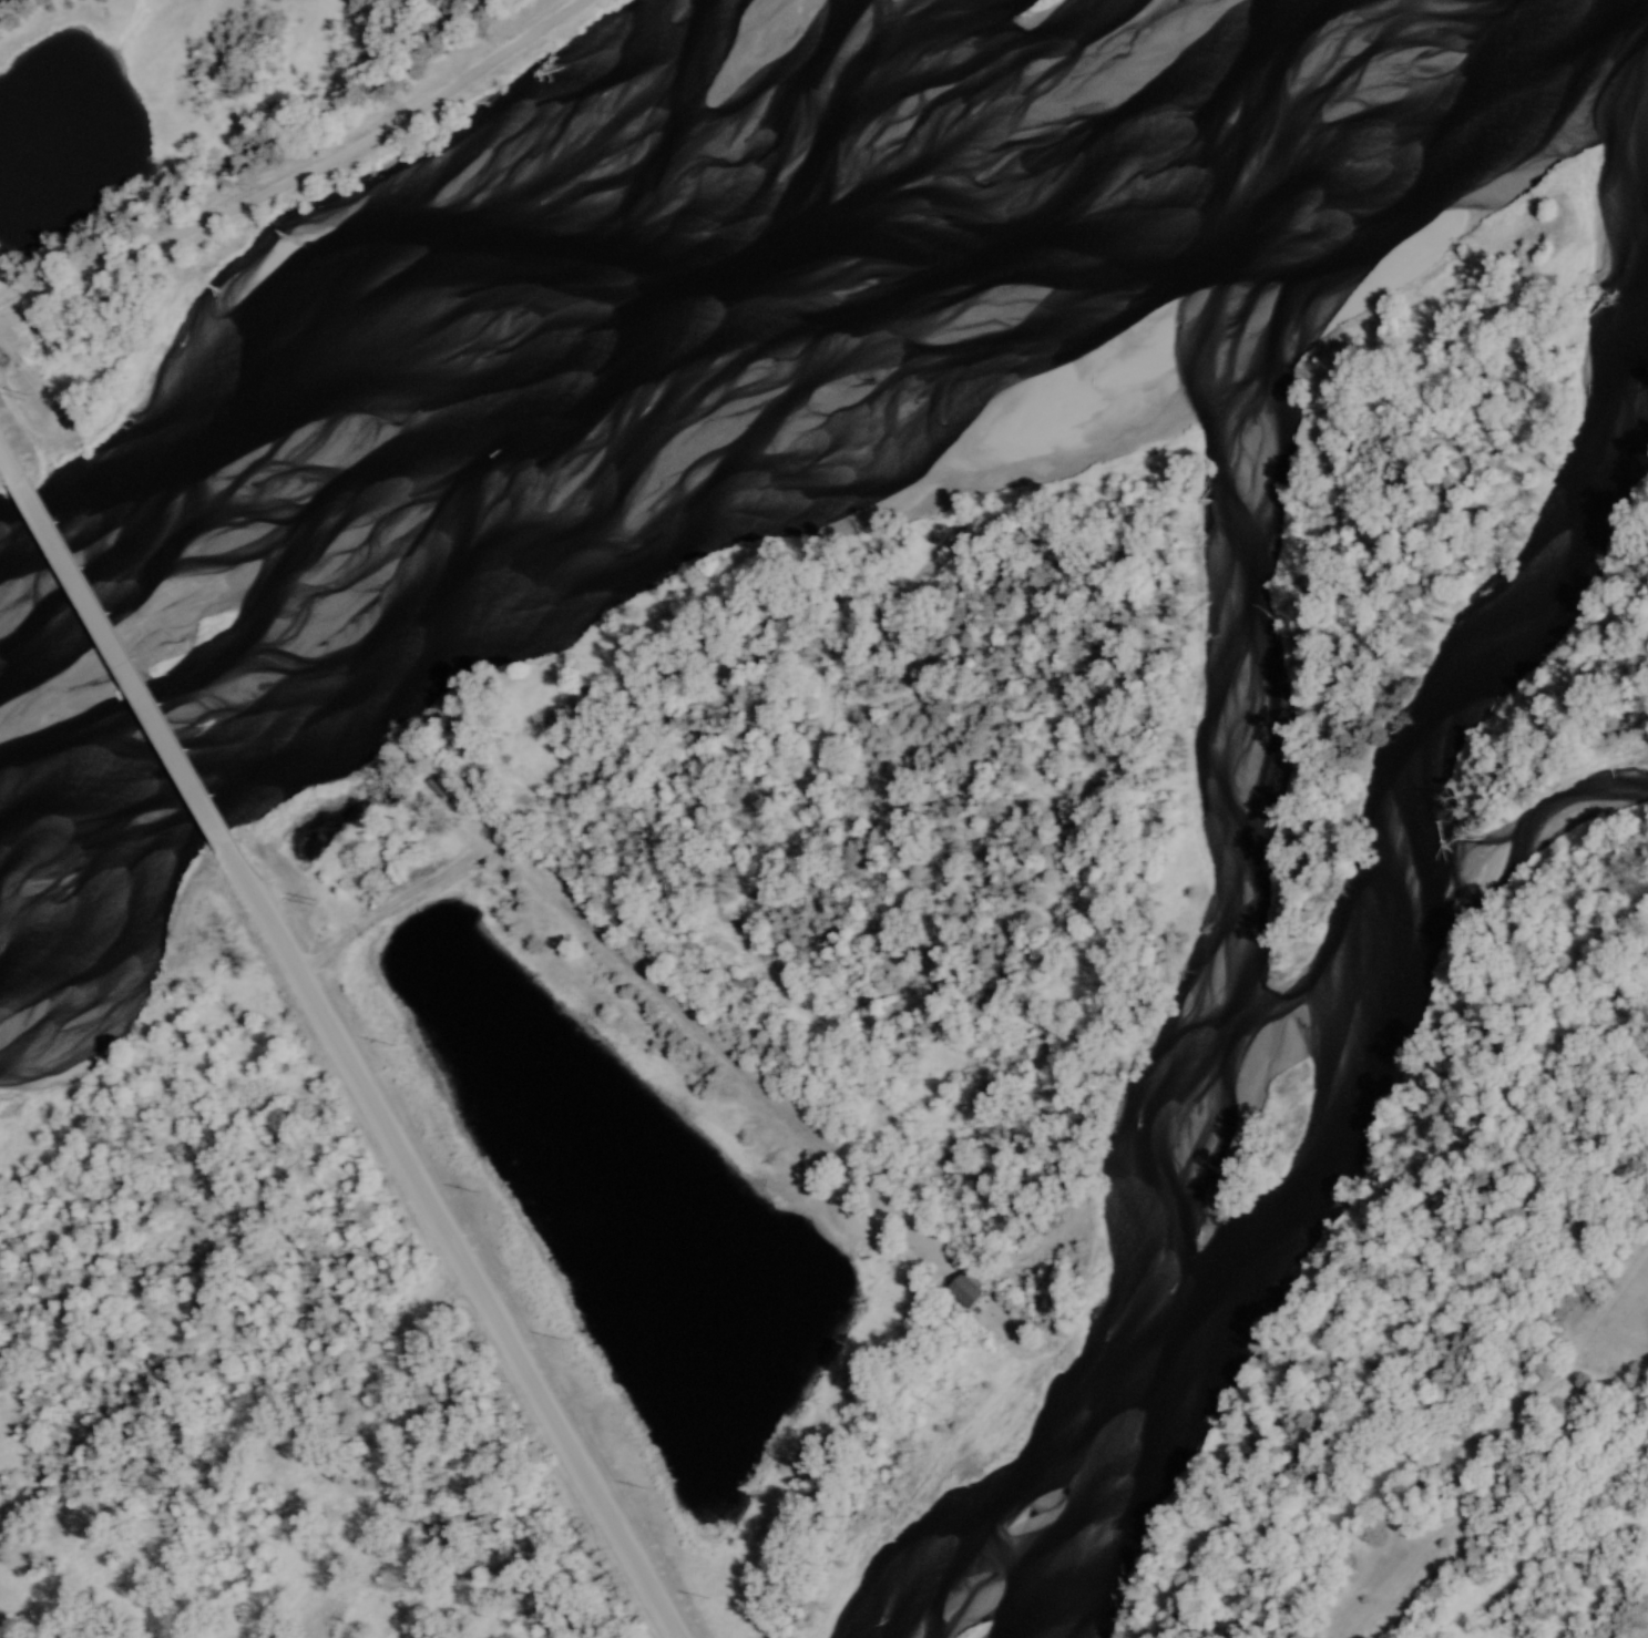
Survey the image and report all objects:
road: (306, 181)
river: (720, 444)
road: (6, 463)
road: (126, 669)
road: (459, 1252)
building: (969, 1290)

